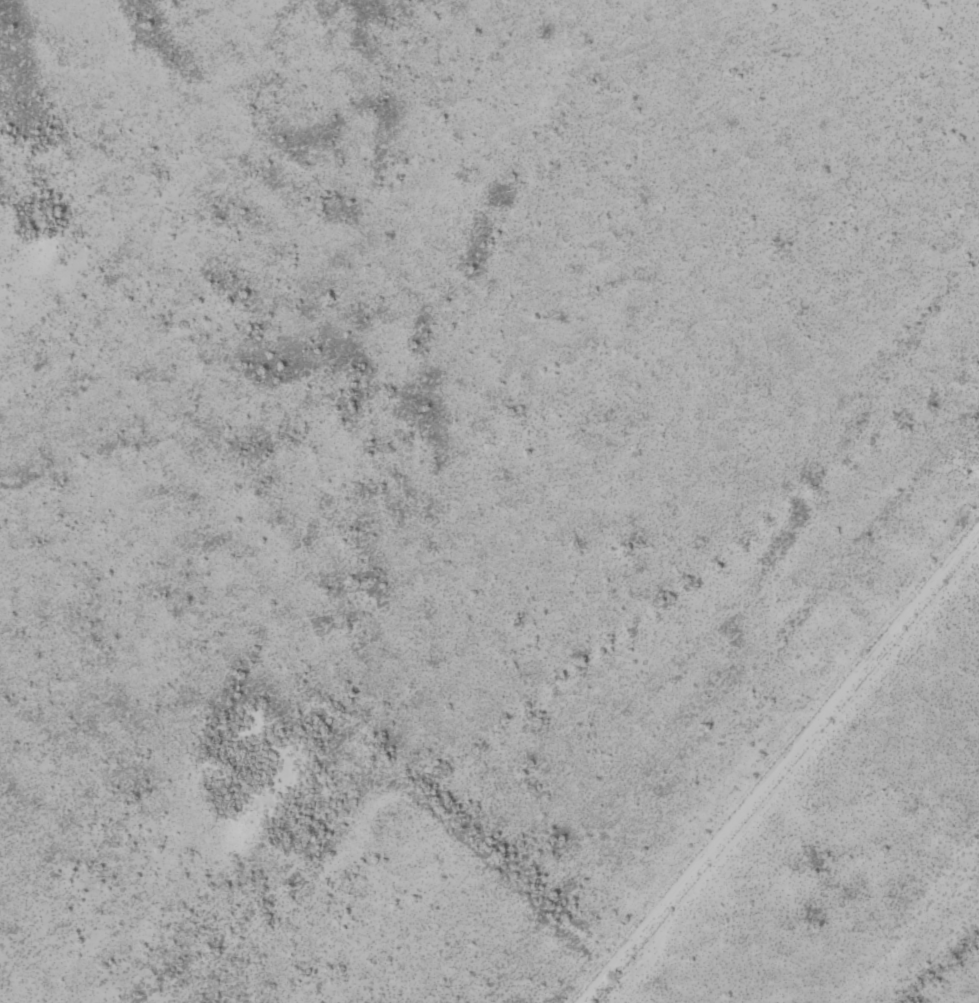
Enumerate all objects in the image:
road: (786, 771)

